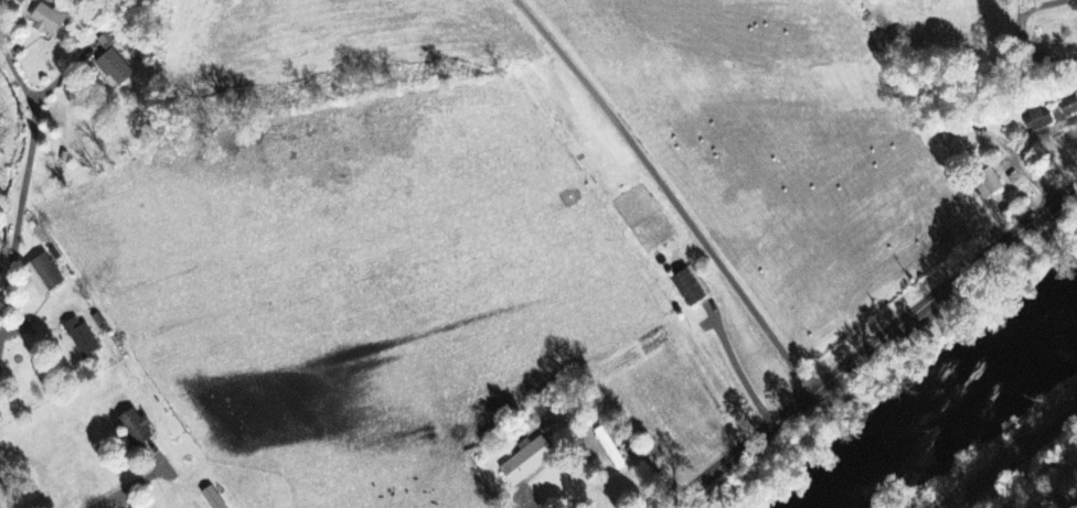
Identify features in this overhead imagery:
building: (925, 0)
building: (49, 21)
road: (1026, 33)
building: (105, 42)
building: (116, 68)
building: (1069, 102)
building: (1036, 116)
building: (973, 139)
building: (1019, 176)
building: (990, 181)
road: (23, 190)
road: (670, 193)
building: (44, 275)
building: (691, 284)
building: (82, 338)
road: (873, 346)
river: (948, 401)
building: (137, 429)
building: (610, 446)
building: (529, 457)
road: (1010, 460)
road: (125, 487)
building: (213, 498)

